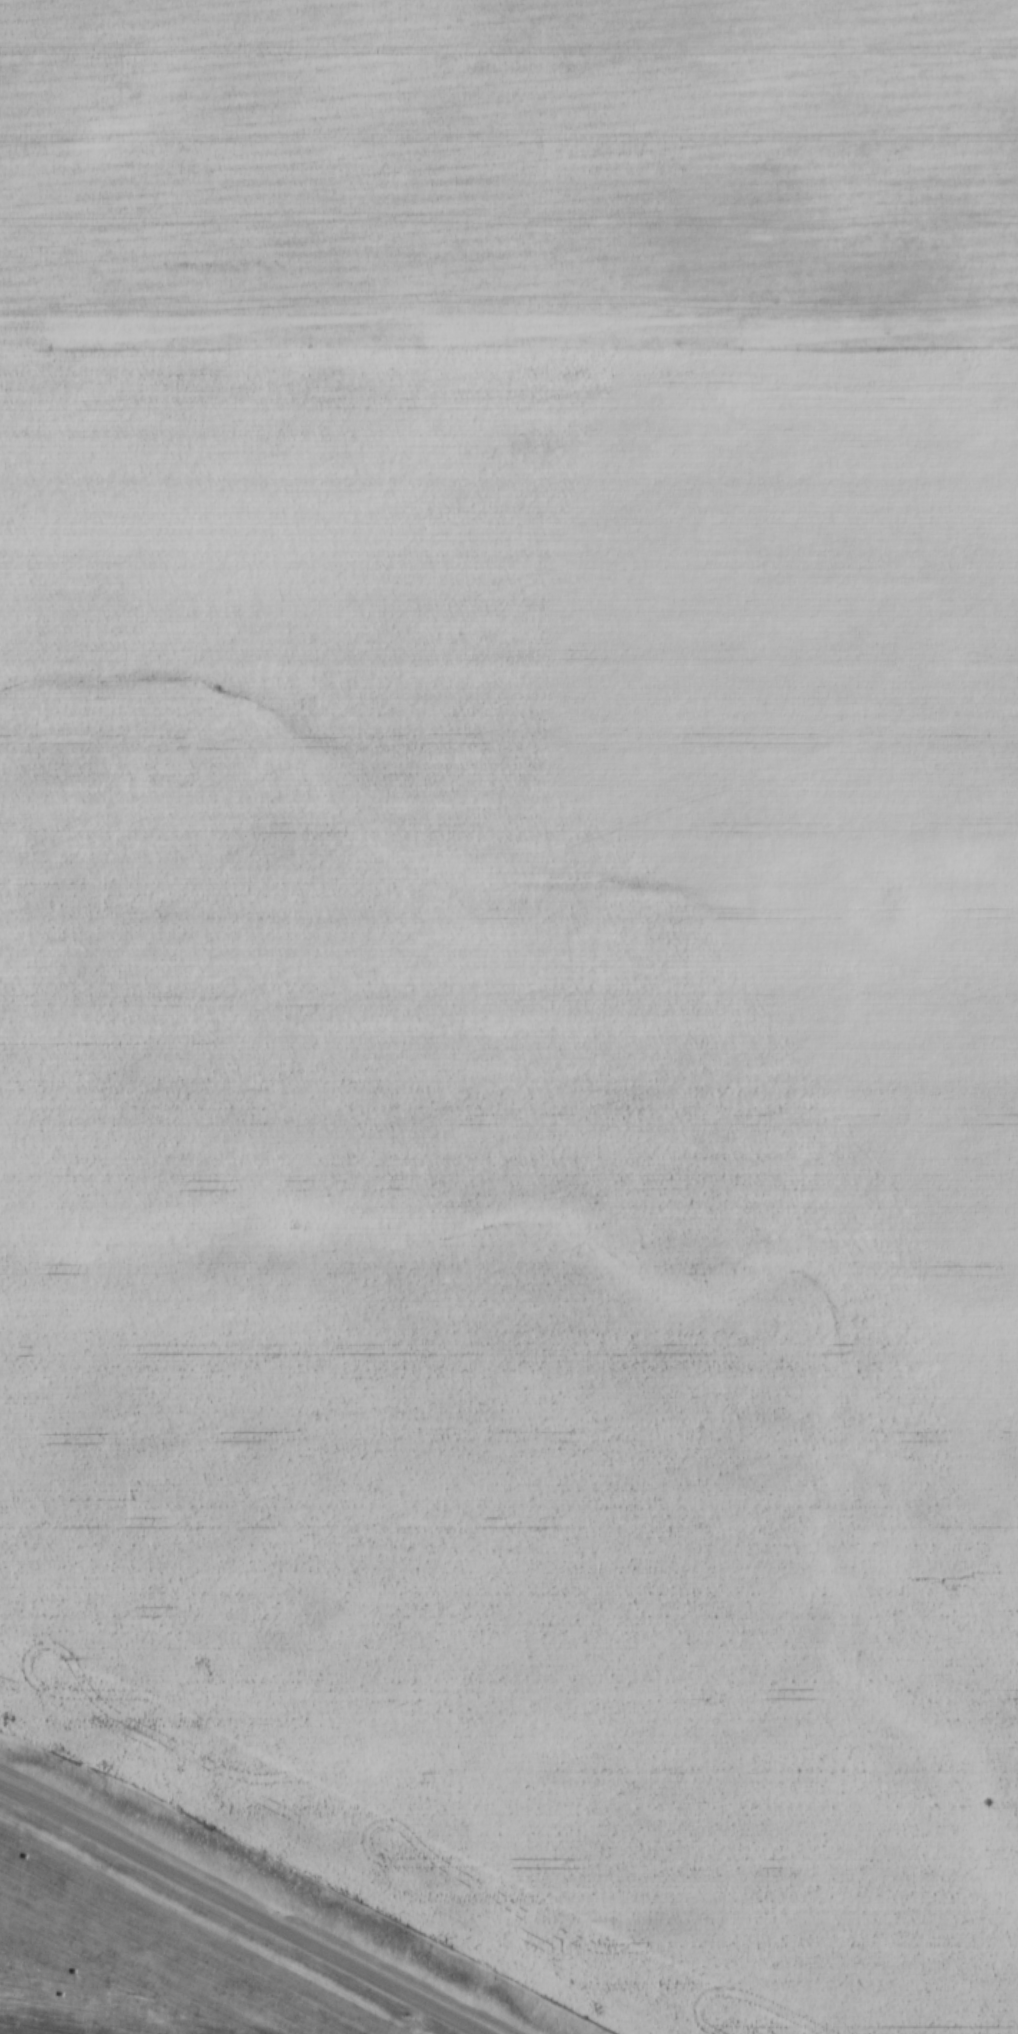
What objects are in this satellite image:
road: (244, 1908)

